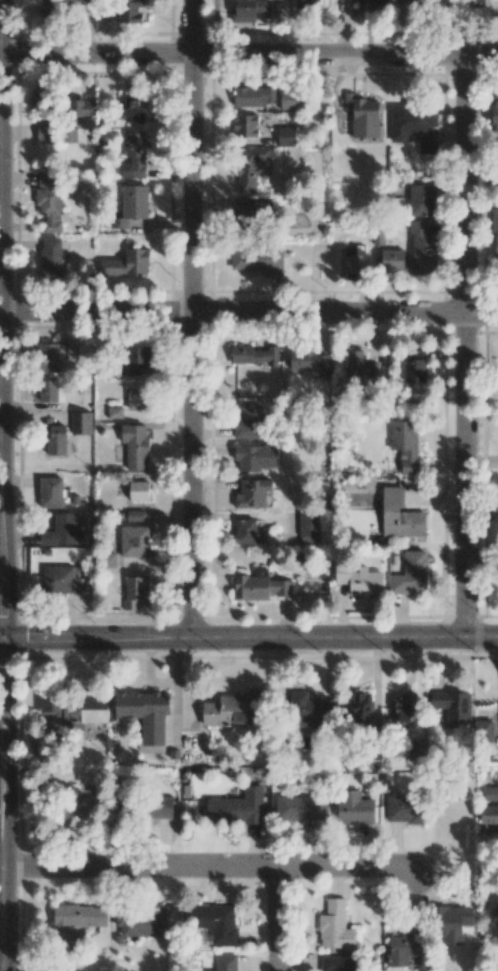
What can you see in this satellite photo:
building: (372, 2)
building: (309, 4)
building: (51, 10)
building: (130, 10)
building: (253, 12)
road: (249, 54)
building: (254, 96)
building: (291, 99)
building: (42, 100)
building: (133, 105)
building: (82, 111)
building: (363, 115)
building: (495, 115)
building: (415, 125)
building: (246, 126)
building: (44, 132)
building: (70, 135)
building: (286, 137)
building: (134, 156)
road: (0, 166)
building: (249, 168)
building: (421, 198)
building: (49, 201)
building: (132, 205)
building: (246, 209)
building: (495, 235)
building: (423, 248)
building: (51, 258)
building: (257, 260)
building: (392, 260)
building: (351, 261)
building: (127, 264)
road: (250, 312)
road: (190, 319)
road: (462, 346)
building: (70, 351)
building: (253, 354)
building: (49, 357)
building: (138, 357)
building: (302, 360)
building: (322, 365)
building: (359, 366)
building: (415, 366)
building: (50, 391)
building: (137, 398)
building: (115, 412)
building: (80, 422)
building: (248, 422)
building: (56, 439)
building: (405, 444)
building: (135, 445)
building: (255, 457)
road: (4, 485)
building: (139, 490)
building: (50, 492)
building: (252, 493)
building: (134, 515)
building: (399, 515)
building: (308, 524)
building: (61, 530)
building: (245, 531)
building: (309, 539)
building: (135, 541)
building: (109, 560)
building: (410, 573)
building: (62, 580)
building: (359, 580)
building: (251, 586)
building: (280, 587)
building: (135, 591)
road: (2, 637)
road: (251, 638)
building: (75, 707)
building: (451, 707)
building: (361, 708)
building: (403, 708)
building: (233, 710)
building: (145, 713)
building: (318, 713)
building: (486, 733)
building: (417, 750)
building: (491, 793)
building: (86, 798)
building: (161, 807)
building: (237, 807)
building: (301, 808)
building: (354, 808)
building: (404, 808)
building: (489, 818)
road: (210, 865)
building: (492, 906)
building: (77, 918)
road: (280, 919)
building: (141, 921)
building: (215, 923)
building: (453, 923)
building: (335, 926)
building: (406, 943)
building: (226, 962)
building: (338, 963)

